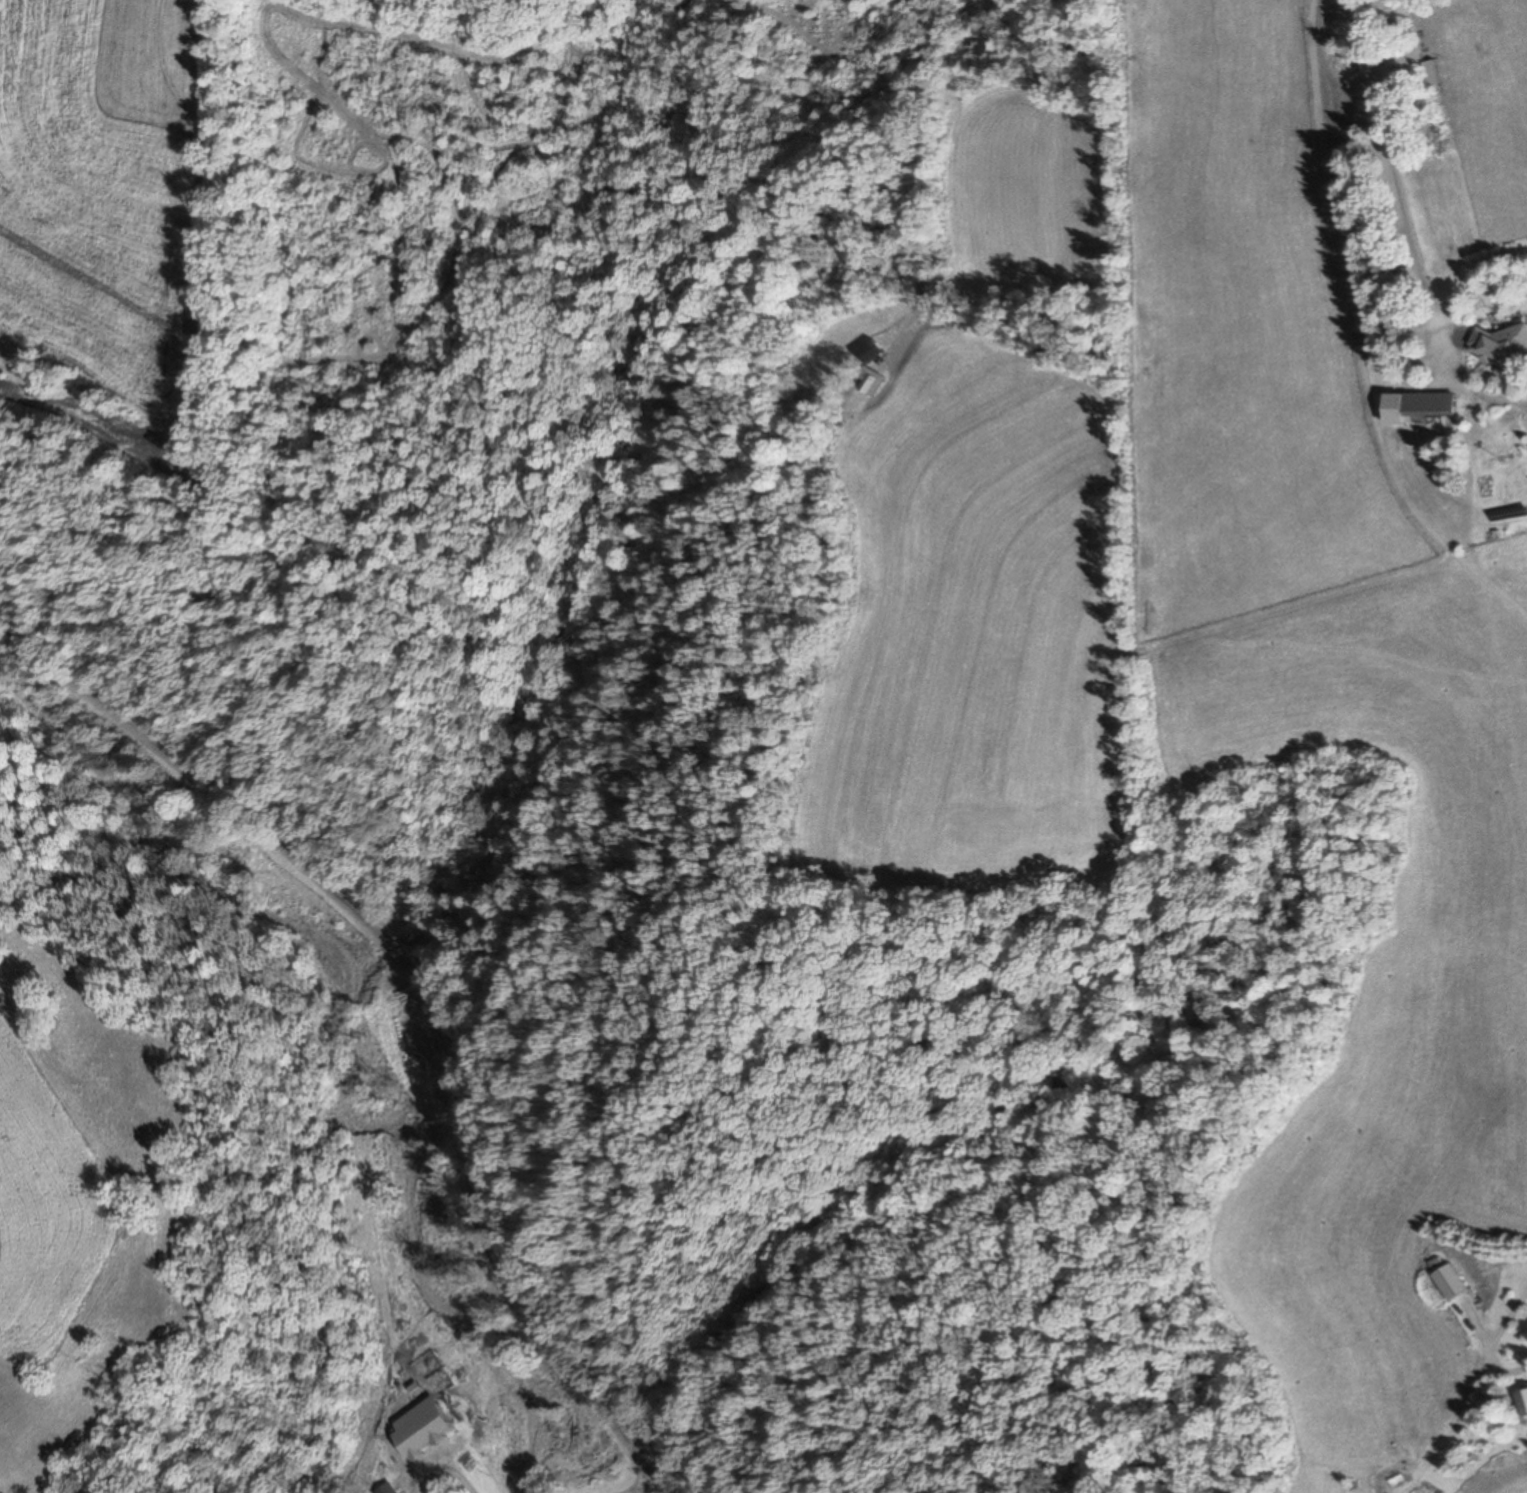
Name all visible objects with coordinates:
building: (1429, 72)
road: (1377, 154)
building: (1446, 290)
building: (1499, 345)
building: (1426, 404)
road: (150, 750)
road: (451, 1193)
building: (1526, 1397)
building: (427, 1426)

